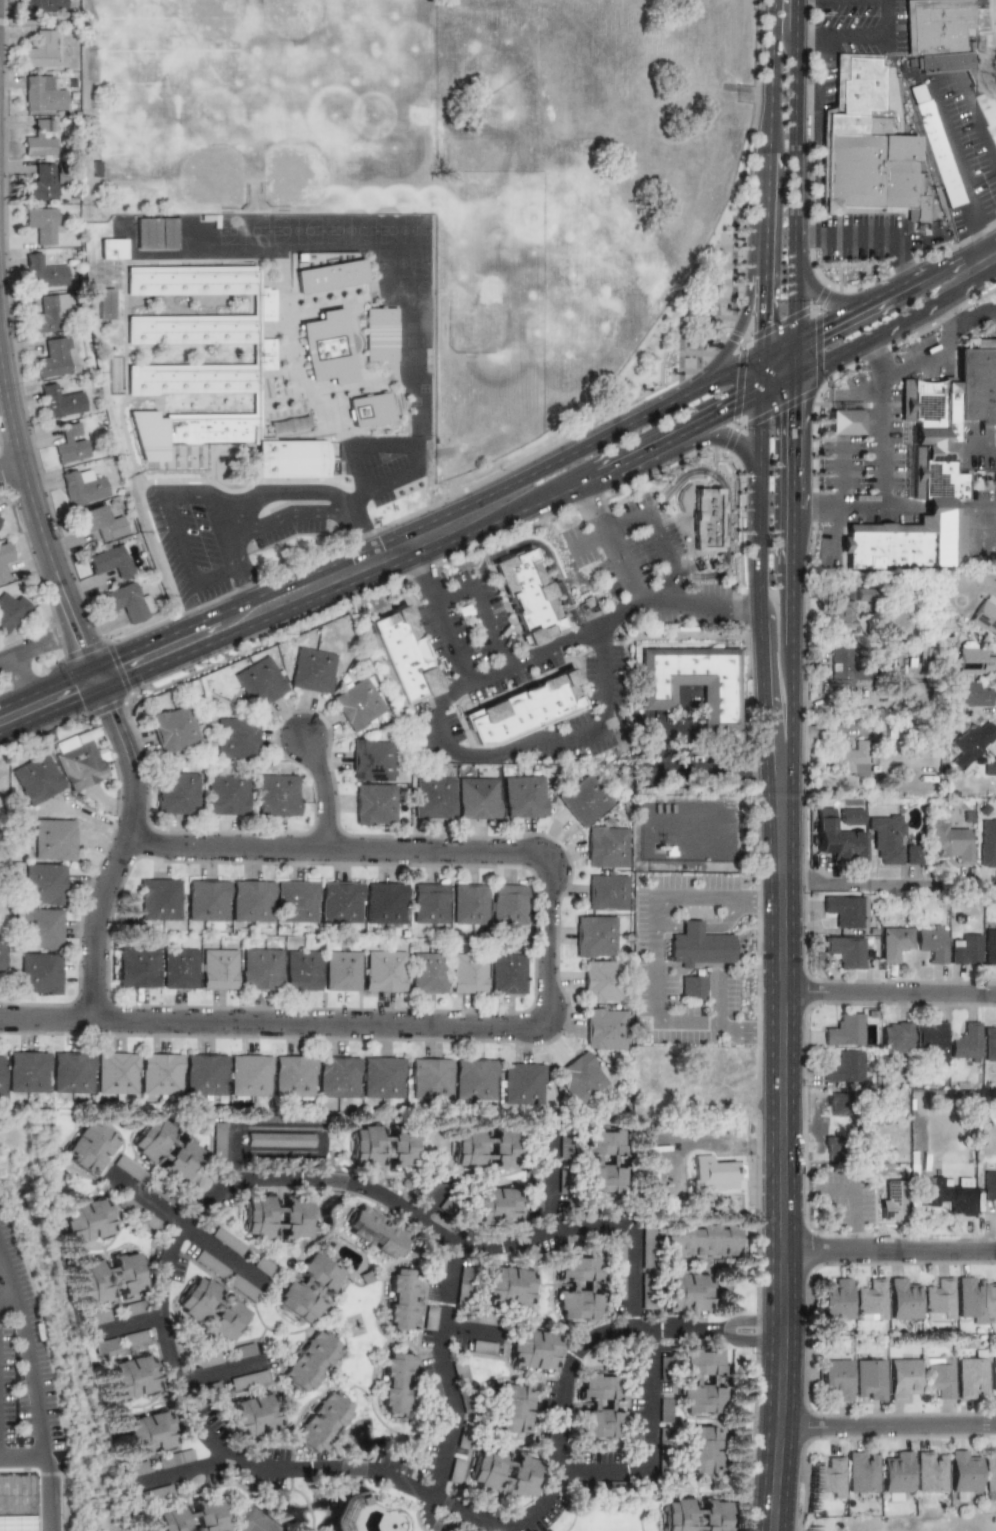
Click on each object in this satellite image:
building: (44, 5)
road: (887, 20)
road: (782, 26)
road: (839, 38)
building: (947, 44)
building: (39, 50)
road: (822, 71)
building: (41, 93)
road: (939, 108)
road: (791, 115)
road: (769, 121)
building: (40, 138)
road: (708, 144)
building: (933, 145)
building: (866, 148)
building: (95, 169)
building: (43, 181)
building: (41, 224)
road: (873, 232)
building: (166, 233)
building: (145, 234)
building: (110, 248)
road: (977, 258)
building: (42, 271)
road: (943, 273)
building: (328, 276)
road: (915, 287)
road: (792, 290)
road: (895, 298)
road: (843, 301)
road: (763, 303)
building: (104, 304)
building: (48, 313)
road: (947, 316)
road: (973, 317)
road: (840, 326)
road: (737, 332)
road: (882, 333)
building: (377, 334)
building: (324, 348)
road: (873, 352)
road: (918, 355)
road: (777, 357)
building: (53, 358)
building: (209, 369)
road: (761, 378)
building: (976, 382)
road: (719, 383)
road: (776, 385)
road: (865, 394)
building: (59, 401)
building: (924, 405)
building: (366, 410)
building: (844, 422)
building: (278, 426)
road: (687, 428)
road: (759, 428)
road: (792, 429)
road: (882, 434)
road: (722, 438)
road: (590, 442)
building: (69, 443)
road: (369, 451)
road: (977, 451)
road: (10, 467)
building: (938, 473)
road: (841, 474)
building: (80, 486)
road: (384, 486)
road: (564, 488)
road: (282, 495)
road: (725, 501)
road: (593, 507)
road: (816, 507)
road: (918, 507)
road: (170, 514)
building: (0, 518)
building: (706, 518)
road: (281, 520)
building: (97, 522)
road: (38, 527)
road: (652, 531)
road: (359, 532)
road: (228, 537)
road: (589, 540)
road: (413, 541)
road: (542, 546)
building: (904, 546)
building: (4, 560)
building: (110, 561)
road: (624, 569)
road: (418, 570)
road: (216, 576)
road: (246, 583)
building: (526, 595)
building: (125, 602)
road: (477, 602)
road: (747, 606)
building: (11, 611)
building: (839, 613)
road: (760, 614)
building: (984, 617)
road: (201, 620)
road: (603, 624)
road: (790, 635)
road: (448, 637)
road: (210, 642)
road: (27, 649)
building: (401, 657)
building: (971, 658)
building: (839, 668)
building: (312, 670)
road: (21, 675)
road: (773, 681)
building: (259, 682)
building: (693, 682)
road: (46, 686)
building: (966, 692)
building: (358, 704)
building: (521, 708)
road: (50, 710)
building: (173, 729)
building: (235, 737)
road: (530, 741)
building: (968, 741)
building: (851, 759)
building: (80, 760)
building: (372, 760)
road: (780, 765)
road: (697, 770)
building: (994, 772)
building: (36, 779)
road: (322, 788)
building: (176, 792)
building: (225, 793)
building: (277, 795)
building: (524, 796)
building: (434, 797)
building: (478, 798)
building: (584, 799)
building: (374, 804)
building: (850, 816)
building: (53, 839)
building: (836, 839)
building: (890, 840)
building: (947, 841)
building: (987, 843)
building: (605, 847)
road: (121, 853)
building: (43, 884)
road: (888, 884)
building: (606, 892)
building: (159, 897)
road: (764, 899)
building: (206, 900)
building: (250, 900)
building: (295, 902)
building: (340, 902)
building: (384, 902)
building: (429, 903)
building: (468, 904)
building: (508, 904)
building: (844, 910)
road: (704, 926)
building: (41, 928)
building: (595, 936)
road: (650, 942)
building: (895, 943)
building: (931, 943)
building: (989, 944)
building: (698, 945)
building: (847, 950)
building: (965, 950)
building: (1, 958)
road: (548, 958)
building: (138, 966)
building: (179, 968)
building: (218, 968)
building: (261, 968)
building: (302, 970)
building: (341, 970)
building: (384, 971)
building: (428, 972)
building: (39, 973)
building: (467, 973)
building: (507, 973)
building: (601, 981)
building: (692, 986)
road: (888, 991)
road: (719, 1001)
road: (47, 1021)
road: (749, 1025)
building: (604, 1028)
building: (843, 1029)
building: (895, 1037)
building: (930, 1037)
building: (965, 1040)
building: (989, 1041)
building: (843, 1067)
building: (27, 1071)
building: (71, 1072)
building: (116, 1073)
building: (160, 1074)
building: (204, 1074)
building: (0, 1075)
building: (249, 1075)
building: (293, 1075)
building: (338, 1076)
building: (382, 1077)
building: (580, 1078)
building: (430, 1079)
building: (474, 1079)
building: (522, 1084)
building: (837, 1103)
road: (247, 1125)
building: (150, 1138)
building: (218, 1140)
building: (279, 1140)
building: (562, 1143)
building: (89, 1146)
building: (383, 1147)
building: (482, 1148)
building: (831, 1148)
road: (783, 1150)
building: (181, 1160)
building: (601, 1161)
building: (129, 1169)
building: (713, 1172)
road: (548, 1177)
building: (561, 1183)
building: (989, 1183)
building: (533, 1191)
building: (948, 1196)
building: (891, 1200)
road: (851, 1203)
building: (492, 1206)
building: (276, 1216)
building: (85, 1220)
road: (182, 1228)
building: (376, 1232)
building: (699, 1240)
building: (227, 1241)
building: (647, 1247)
building: (618, 1253)
road: (164, 1255)
road: (891, 1255)
building: (210, 1264)
building: (263, 1267)
building: (579, 1268)
building: (91, 1283)
building: (292, 1286)
building: (463, 1286)
building: (508, 1286)
building: (617, 1287)
building: (243, 1289)
building: (684, 1292)
building: (645, 1295)
building: (196, 1298)
building: (970, 1298)
building: (401, 1299)
building: (901, 1299)
road: (6, 1300)
building: (869, 1300)
building: (937, 1300)
building: (835, 1301)
building: (993, 1302)
building: (577, 1304)
building: (132, 1308)
building: (97, 1317)
building: (429, 1317)
building: (481, 1318)
building: (225, 1320)
road: (121, 1325)
road: (468, 1330)
building: (133, 1338)
building: (104, 1345)
building: (482, 1347)
building: (242, 1350)
building: (532, 1350)
parking lot: (20, 1357)
building: (207, 1359)
building: (309, 1362)
building: (664, 1365)
road: (439, 1368)
road: (216, 1371)
building: (459, 1373)
building: (993, 1373)
building: (130, 1376)
building: (971, 1376)
road: (29, 1377)
building: (937, 1377)
building: (835, 1378)
building: (902, 1378)
building: (247, 1379)
building: (869, 1380)
building: (699, 1381)
building: (396, 1384)
building: (431, 1386)
building: (599, 1405)
building: (510, 1408)
building: (663, 1410)
building: (252, 1415)
building: (321, 1422)
road: (889, 1424)
building: (148, 1433)
road: (650, 1447)
building: (700, 1449)
building: (174, 1458)
building: (486, 1467)
building: (136, 1468)
road: (176, 1469)
building: (455, 1469)
building: (862, 1471)
building: (929, 1471)
building: (962, 1473)
building: (988, 1474)
building: (520, 1475)
building: (895, 1475)
building: (828, 1478)
road: (46, 1493)
building: (155, 1493)
building: (16, 1498)
road: (65, 1503)
building: (694, 1515)
building: (192, 1516)

